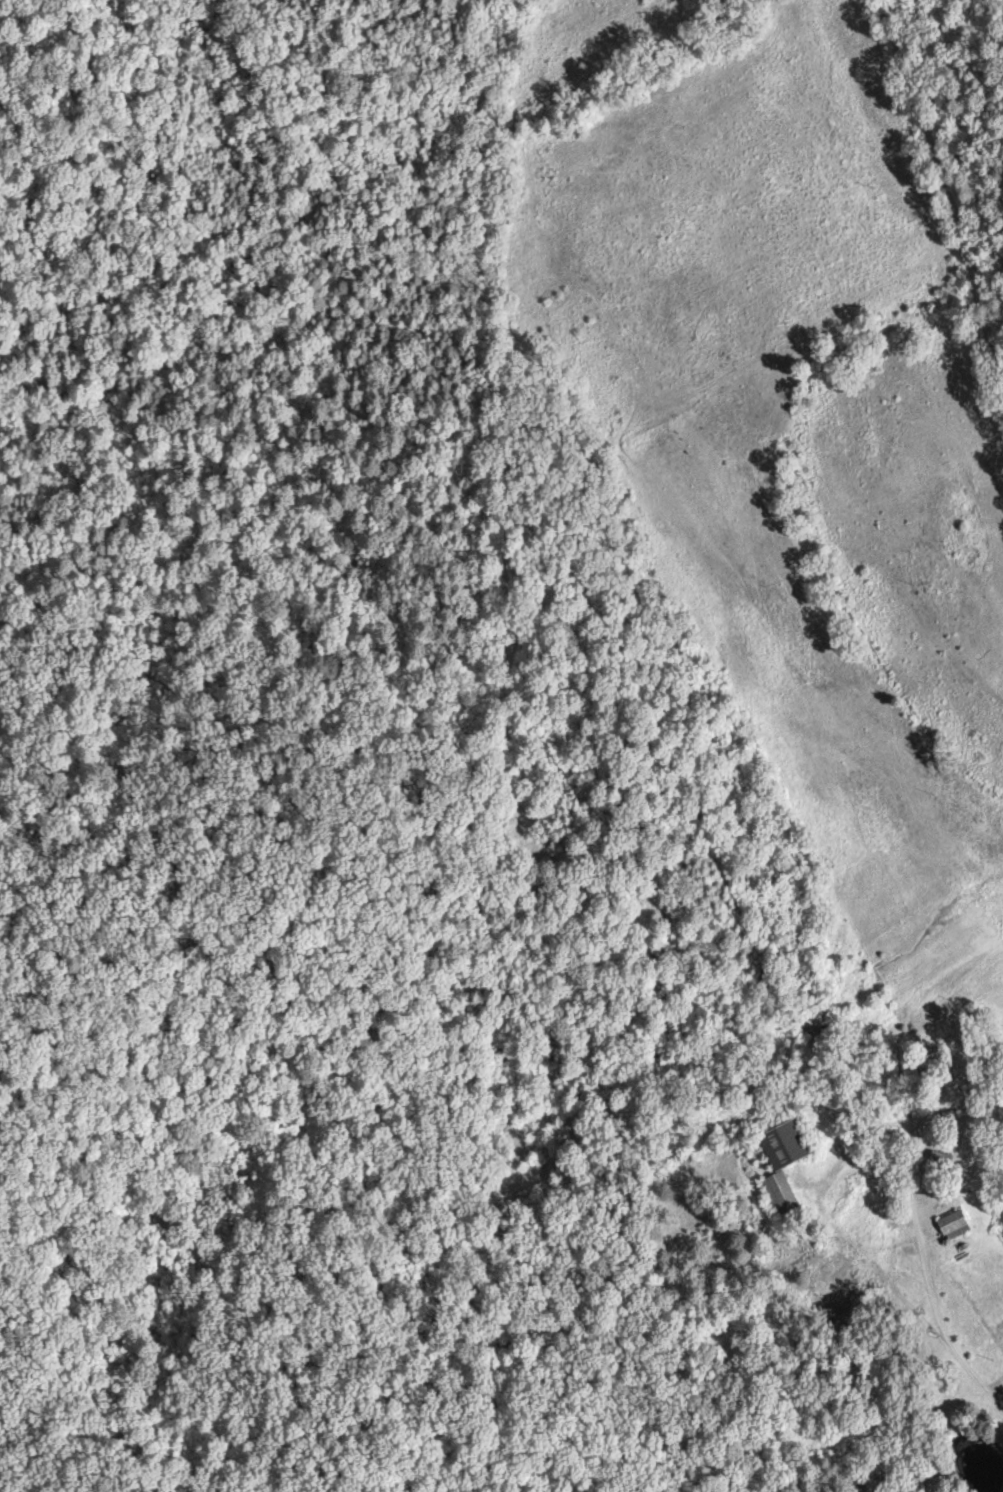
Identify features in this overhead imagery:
road: (934, 190)
road: (892, 1013)
building: (812, 1022)
road: (879, 1126)
building: (785, 1145)
building: (941, 1163)
road: (930, 1185)
building: (774, 1194)
parking lot: (938, 1208)
building: (952, 1223)
road: (924, 1282)

